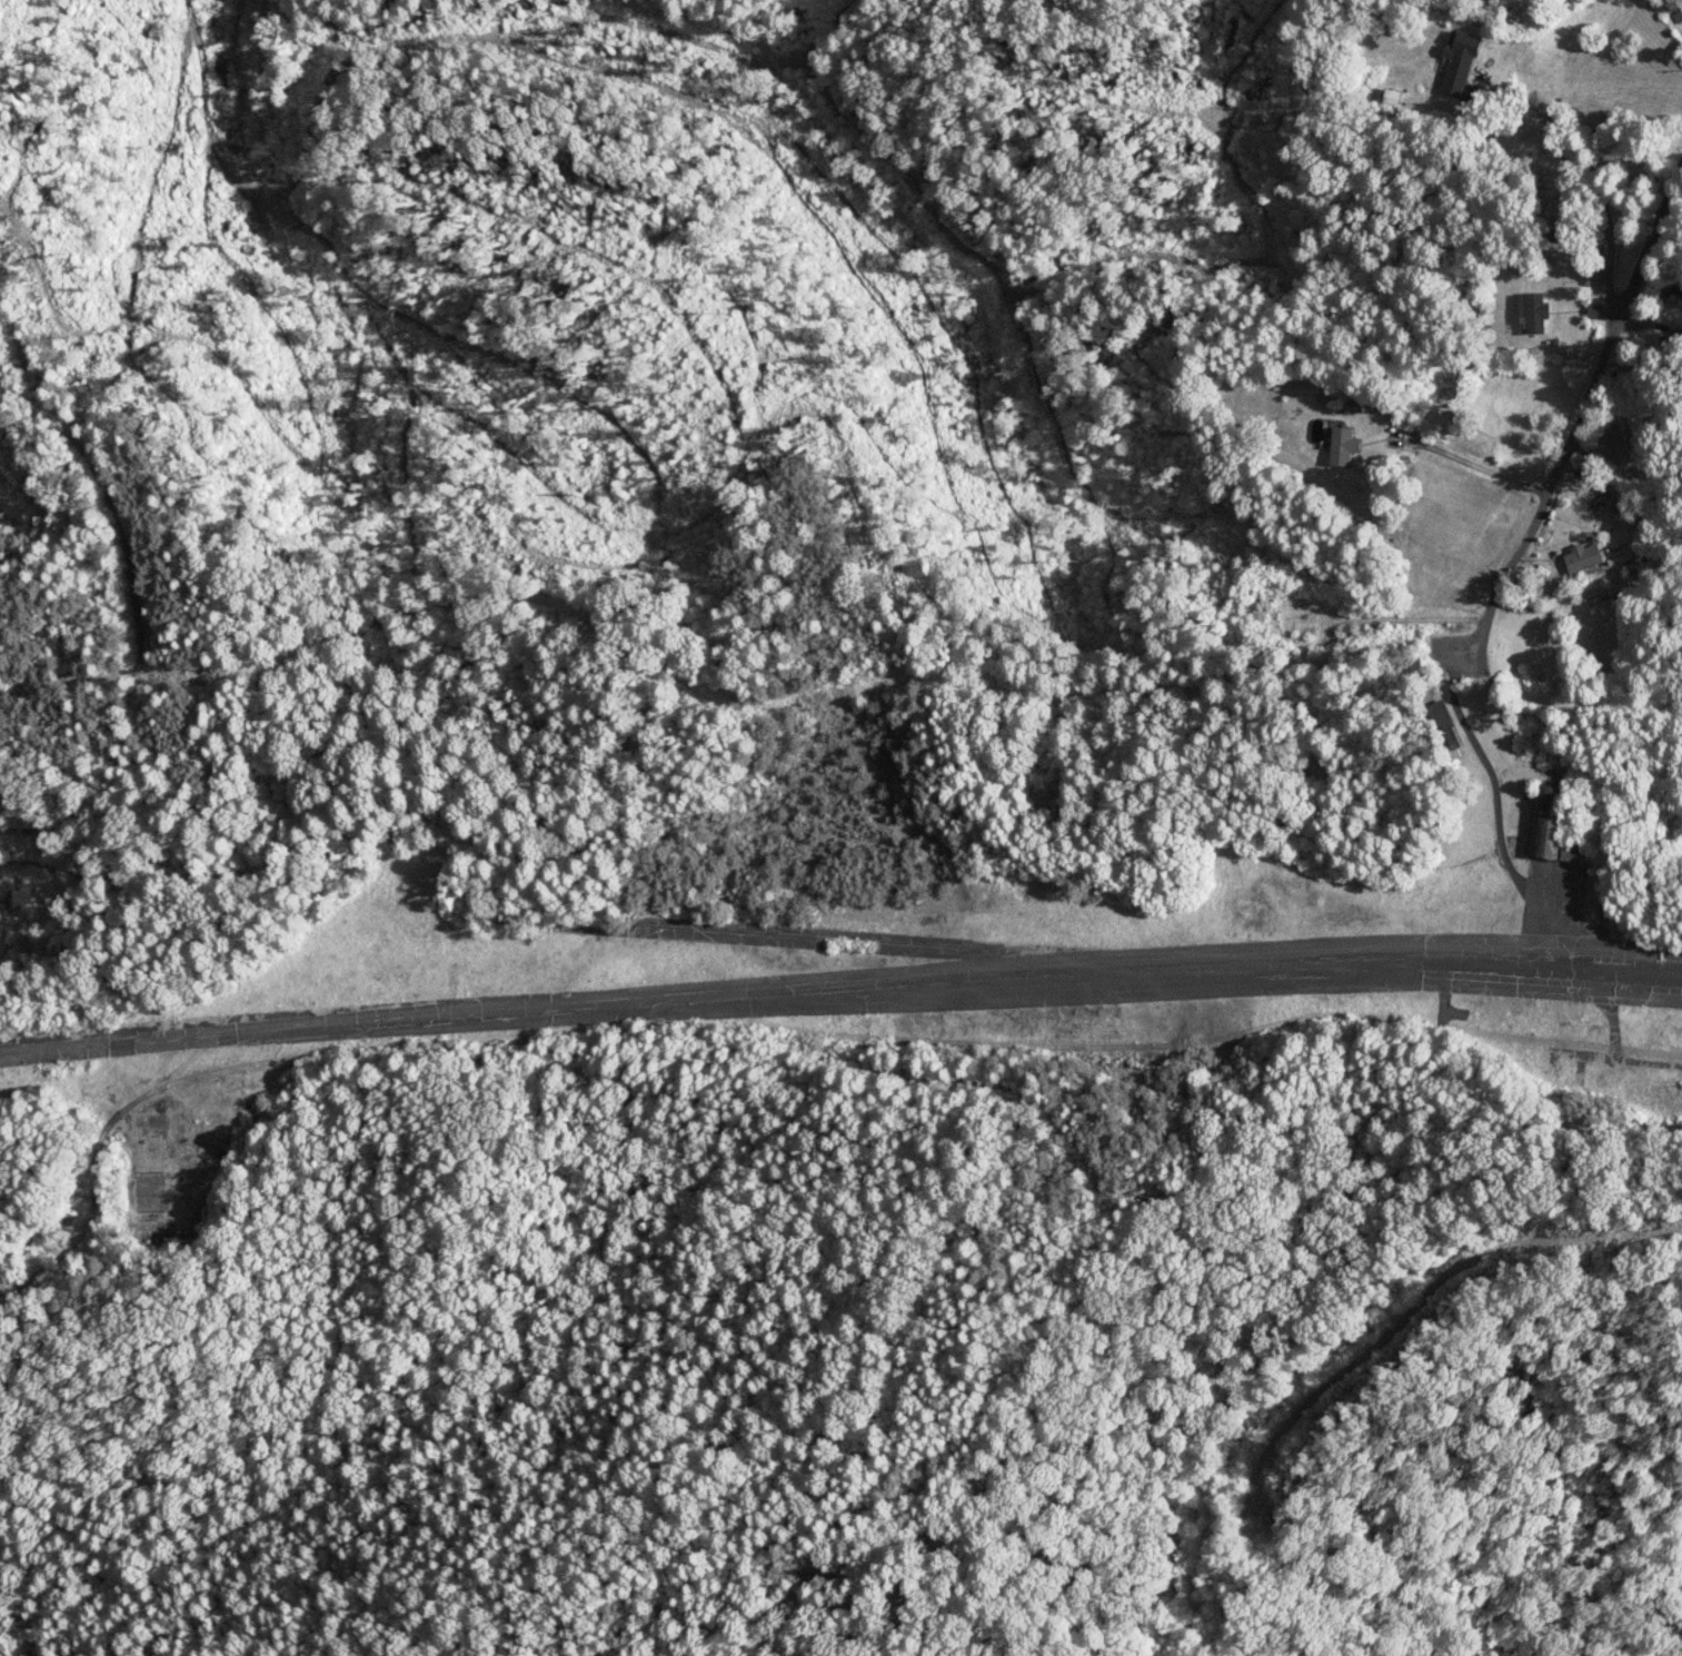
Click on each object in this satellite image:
building: (1461, 63)
road: (1629, 99)
building: (1598, 276)
building: (1678, 296)
building: (1596, 311)
building: (1534, 314)
building: (1321, 433)
building: (1343, 447)
building: (1623, 508)
road: (1502, 525)
building: (1591, 558)
building: (1447, 726)
building: (1549, 821)

